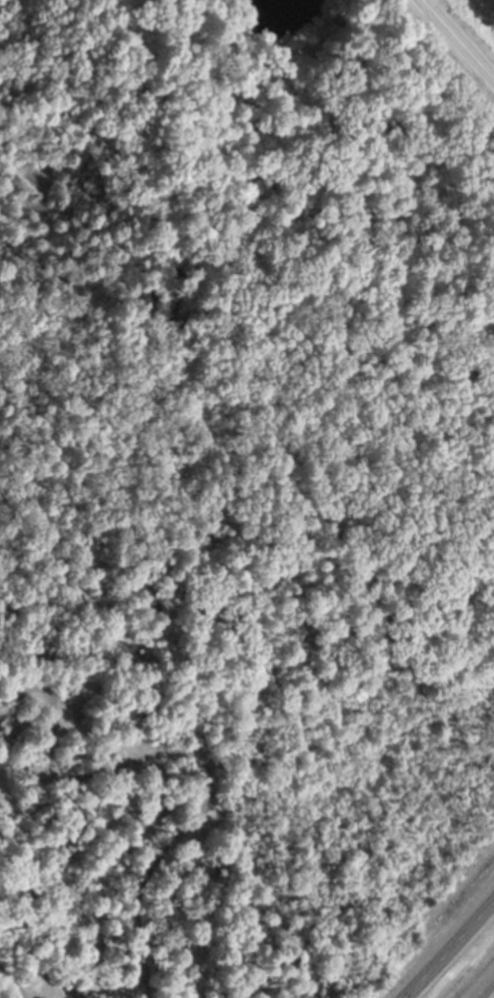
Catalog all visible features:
road: (457, 41)
road: (449, 947)
road: (485, 989)

